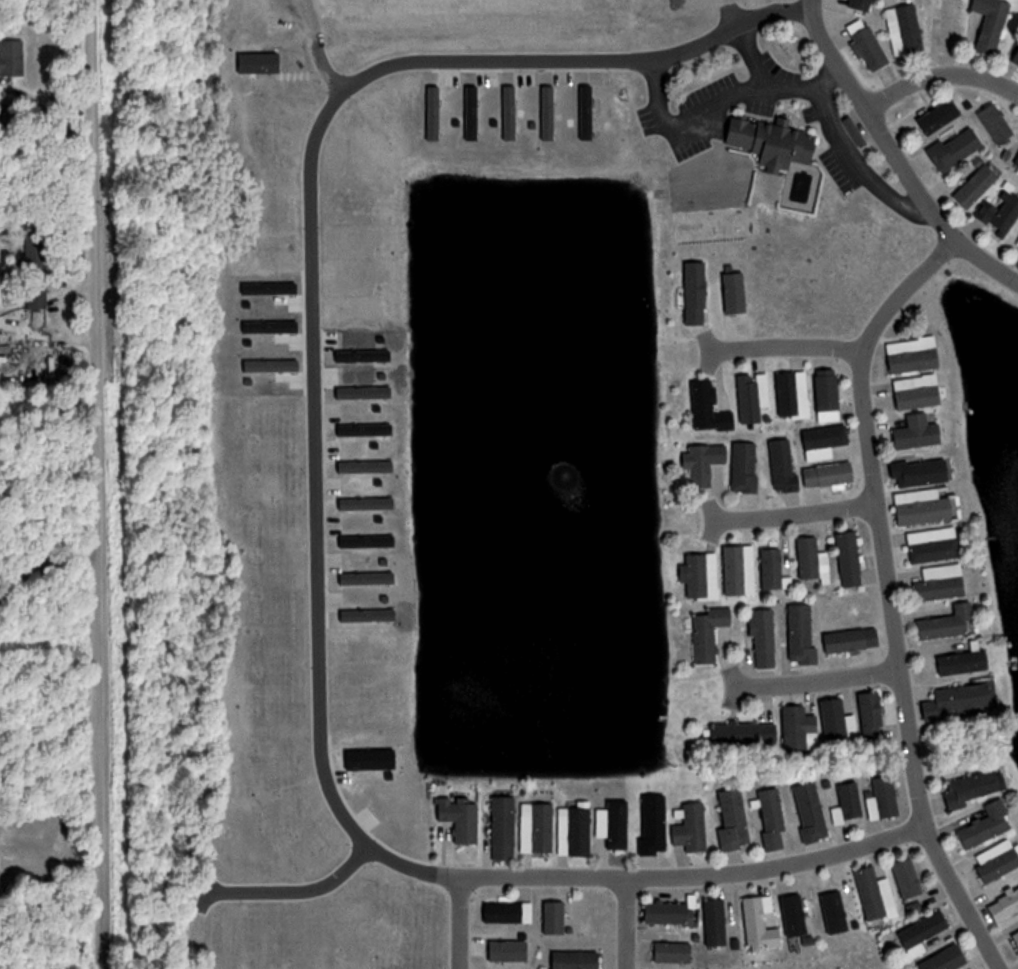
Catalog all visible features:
road: (793, 5)
road: (811, 5)
building: (862, 5)
building: (951, 23)
building: (992, 23)
building: (905, 30)
building: (867, 45)
building: (11, 58)
building: (1015, 58)
road: (755, 66)
road: (939, 76)
building: (940, 117)
road: (673, 120)
building: (996, 124)
road: (877, 128)
building: (774, 143)
building: (956, 149)
road: (851, 151)
building: (1016, 161)
building: (977, 186)
building: (1001, 210)
building: (1017, 245)
road: (986, 261)
building: (35, 270)
road: (288, 274)
road: (786, 347)
building: (914, 355)
building: (918, 391)
building: (793, 394)
building: (828, 395)
building: (752, 396)
building: (710, 408)
building: (920, 431)
building: (825, 440)
building: (706, 463)
building: (784, 465)
building: (745, 467)
building: (922, 471)
building: (829, 474)
road: (93, 484)
building: (924, 506)
road: (796, 513)
building: (934, 544)
road: (37, 548)
building: (809, 558)
building: (850, 558)
building: (773, 568)
building: (734, 570)
building: (701, 575)
building: (941, 583)
road: (888, 596)
building: (950, 623)
building: (710, 633)
building: (802, 636)
building: (764, 638)
building: (851, 640)
building: (966, 661)
road: (818, 680)
building: (962, 700)
building: (872, 716)
building: (835, 721)
building: (799, 728)
building: (744, 734)
building: (973, 787)
building: (883, 798)
building: (848, 803)
building: (772, 810)
building: (811, 811)
building: (462, 818)
building: (733, 819)
building: (615, 824)
building: (654, 824)
building: (988, 825)
building: (503, 827)
building: (692, 829)
building: (575, 831)
building: (998, 859)
road: (667, 878)
building: (909, 878)
road: (274, 881)
building: (871, 893)
building: (1005, 906)
building: (794, 910)
building: (509, 912)
building: (671, 912)
building: (554, 918)
building: (755, 920)
building: (715, 921)
road: (433, 922)
road: (625, 924)
building: (923, 932)
building: (1016, 936)
building: (673, 952)
building: (574, 959)
building: (947, 959)

